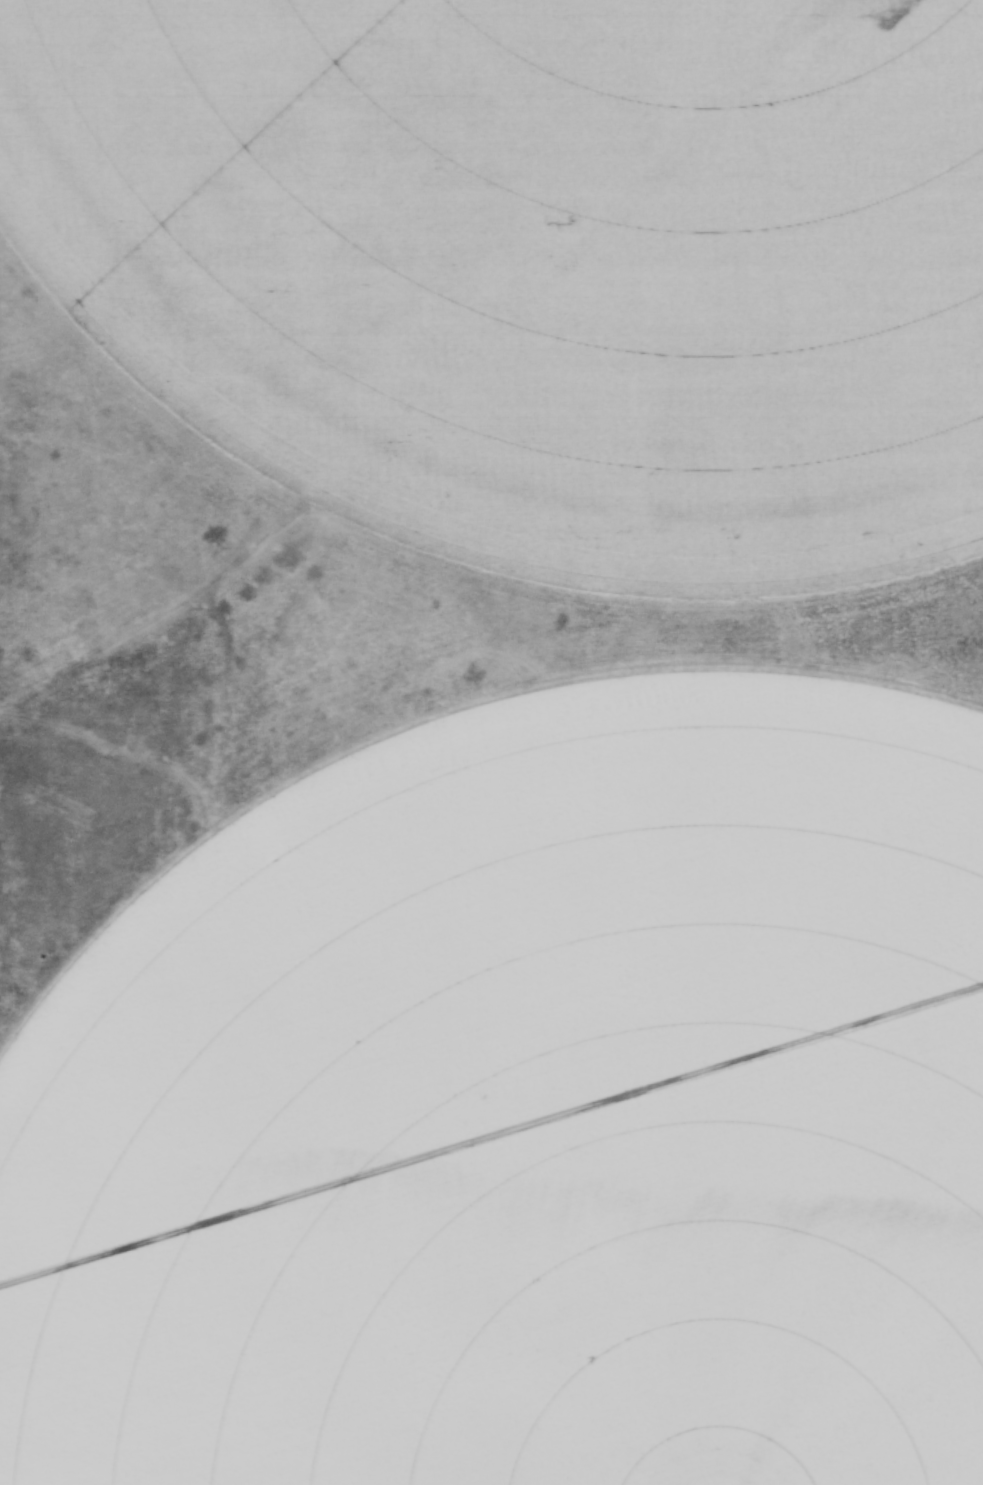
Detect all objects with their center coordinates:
crop: (538, 258)
crop: (525, 1113)

